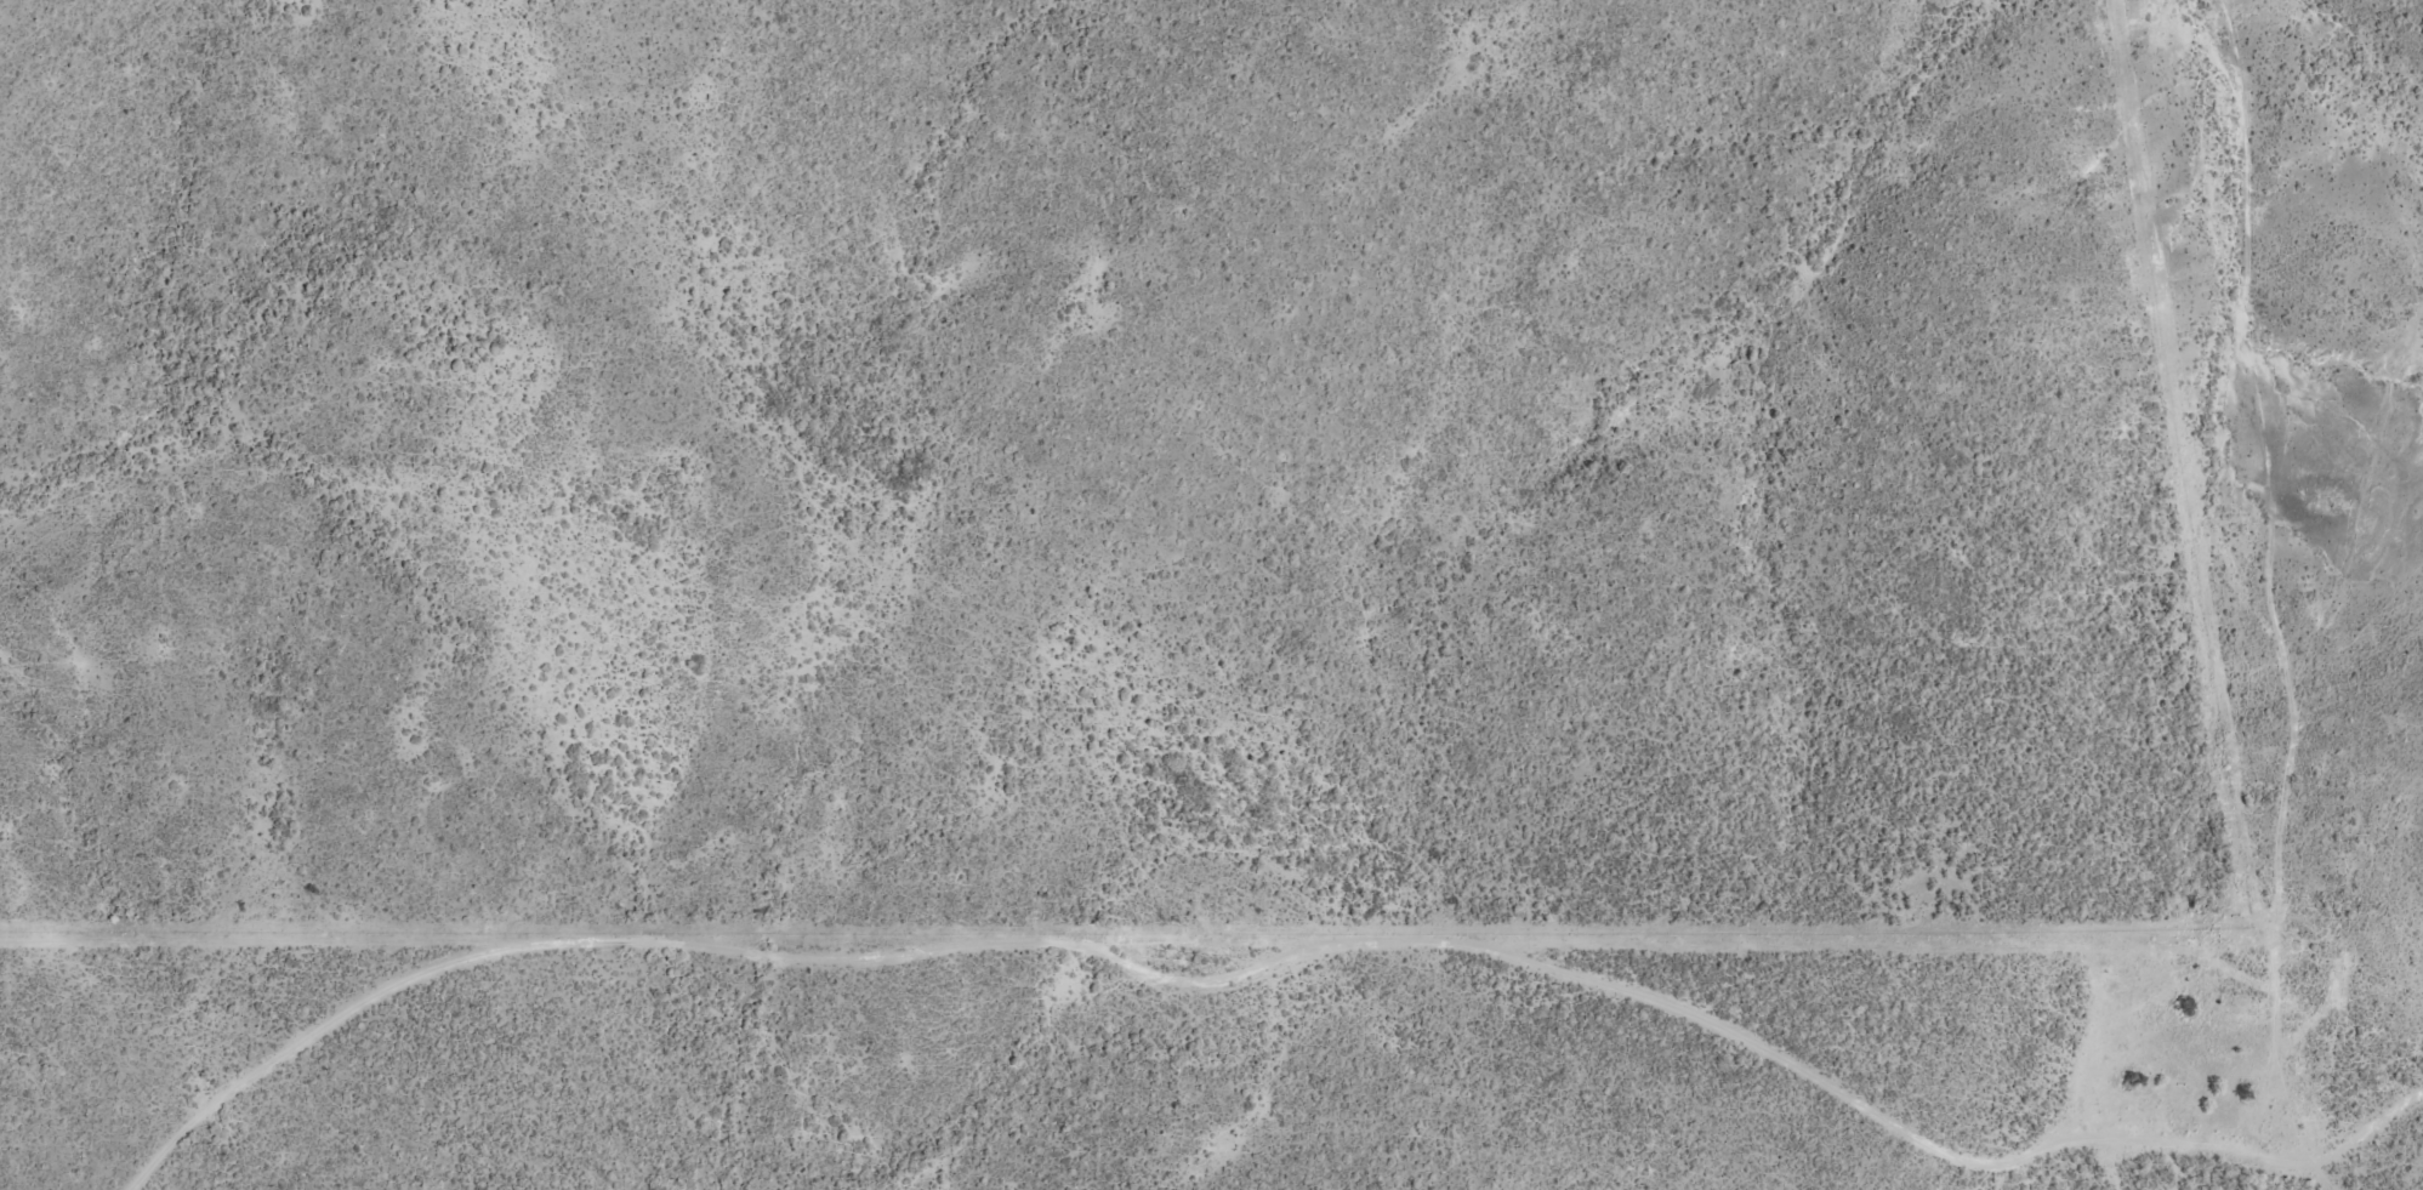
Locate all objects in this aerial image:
road: (1268, 968)
road: (2321, 1177)

